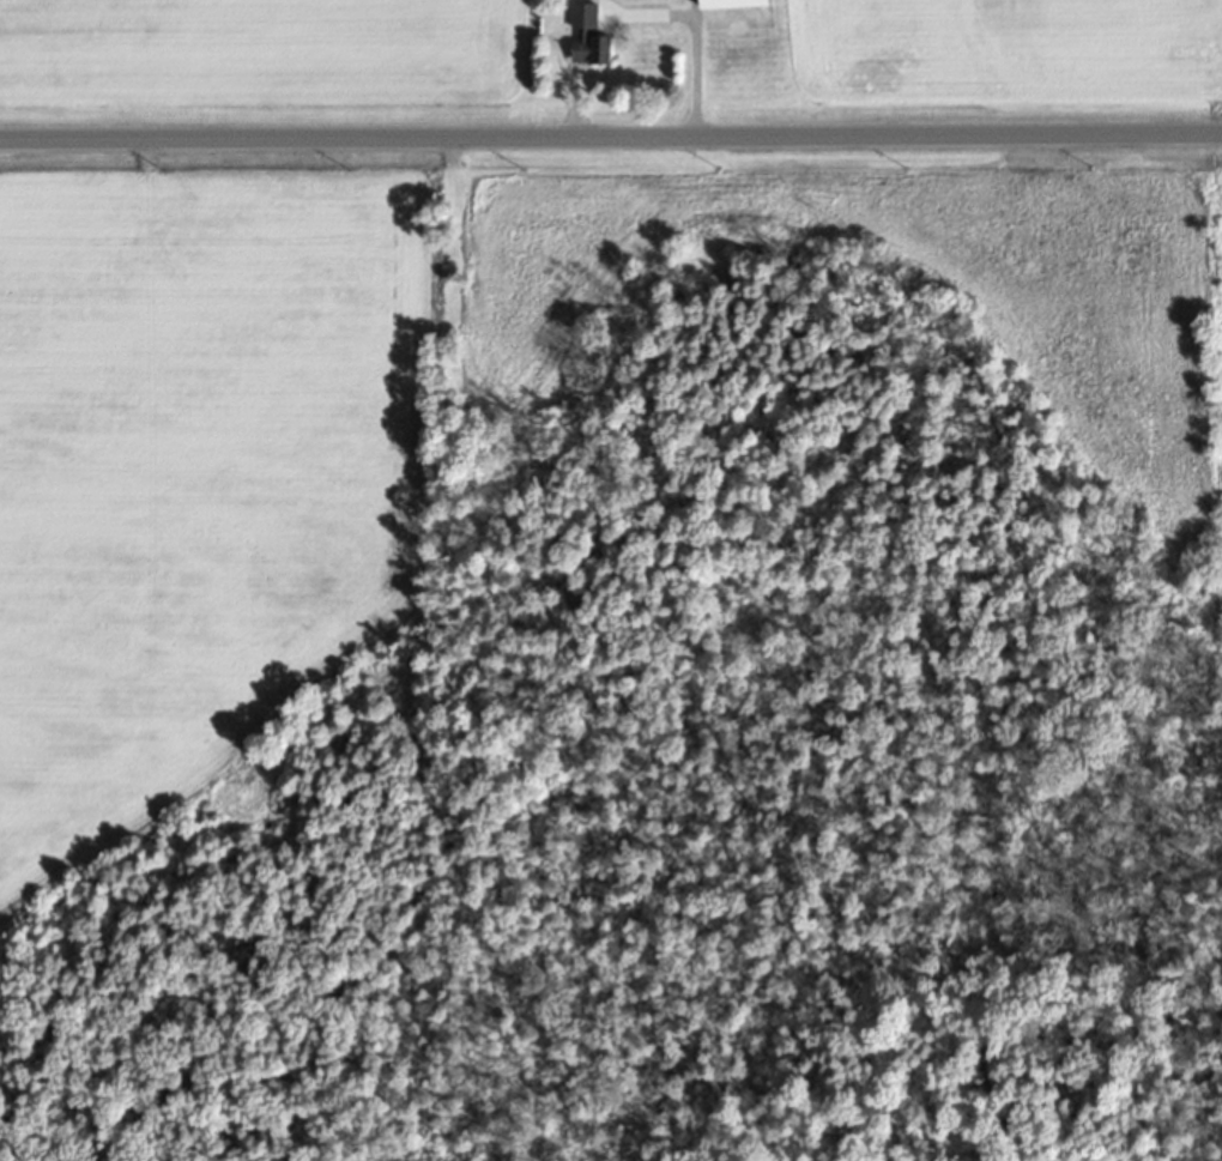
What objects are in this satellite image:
building: (736, 16)
building: (585, 37)
road: (611, 139)

